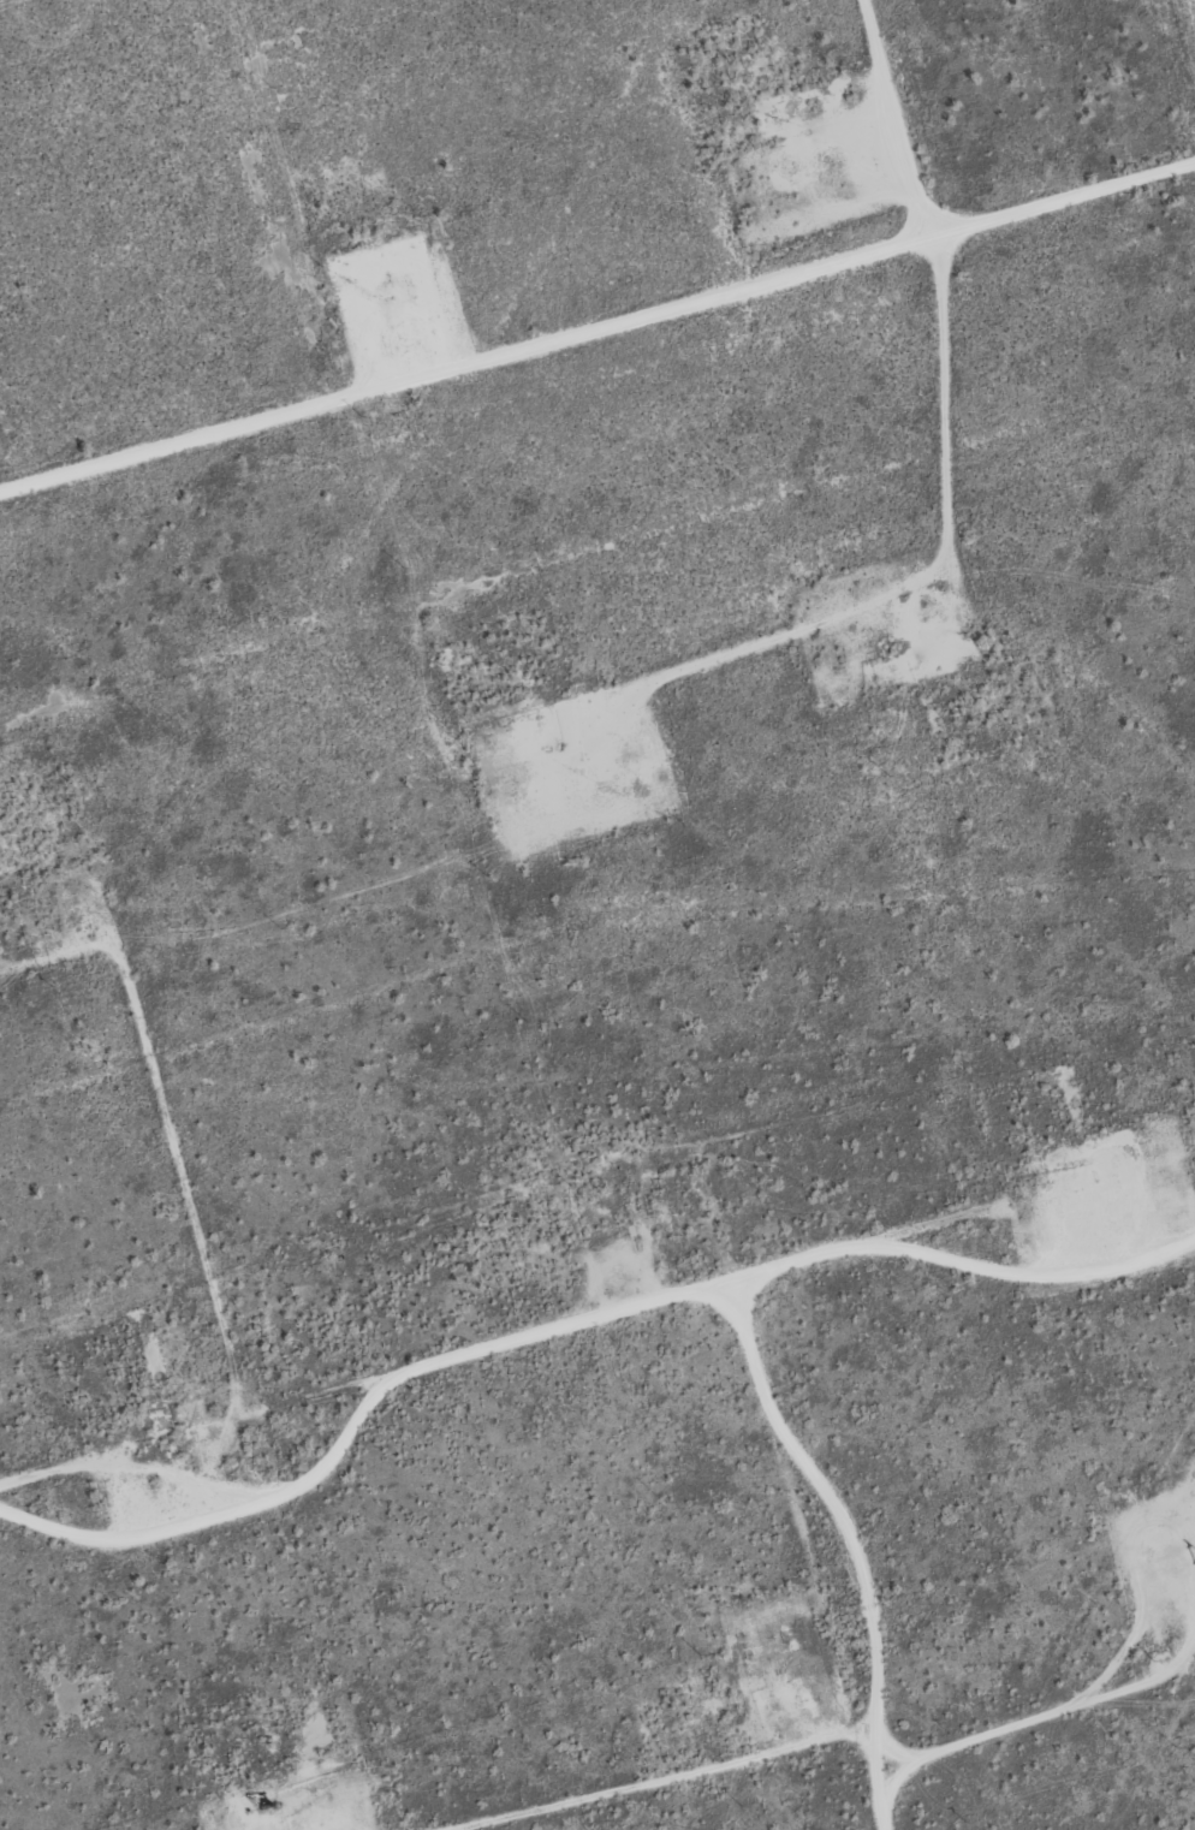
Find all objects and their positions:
road: (597, 326)
road: (595, 1309)
road: (840, 1540)

